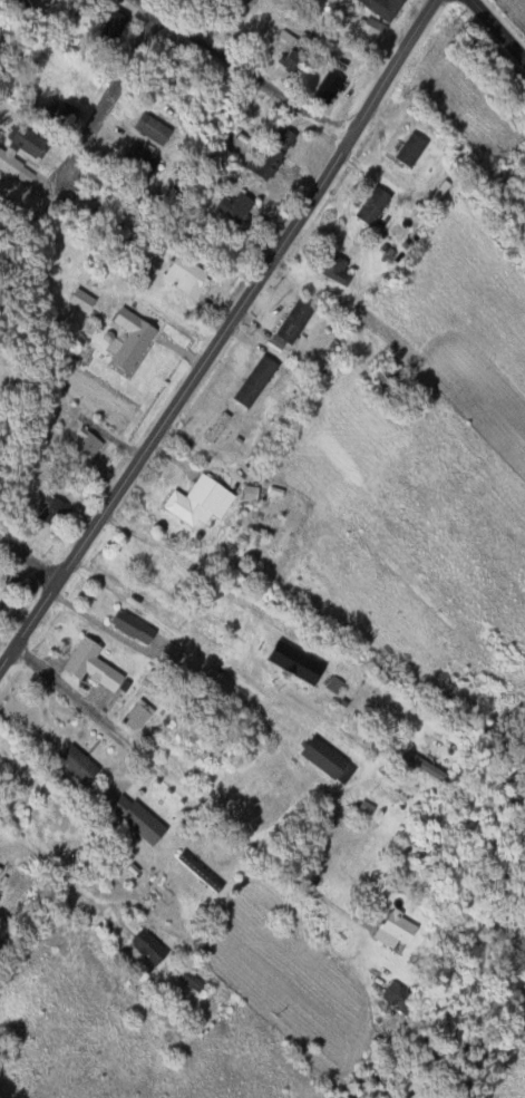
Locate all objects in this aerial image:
building: (318, 4)
building: (376, 8)
building: (236, 13)
building: (107, 23)
road: (497, 28)
building: (285, 60)
road: (244, 68)
road: (116, 86)
building: (323, 88)
building: (59, 113)
building: (146, 129)
building: (25, 144)
building: (407, 150)
building: (264, 156)
building: (128, 158)
building: (7, 164)
building: (368, 206)
building: (227, 208)
building: (101, 221)
building: (329, 269)
building: (178, 276)
building: (74, 301)
building: (288, 324)
road: (223, 333)
building: (124, 341)
building: (251, 381)
building: (214, 428)
building: (80, 445)
building: (25, 487)
building: (195, 502)
building: (50, 506)
road: (28, 563)
building: (140, 563)
building: (128, 628)
building: (290, 663)
building: (87, 667)
road: (332, 694)
building: (134, 715)
road: (134, 744)
building: (323, 761)
building: (72, 765)
building: (128, 816)
building: (0, 871)
building: (196, 872)
building: (388, 931)
road: (56, 934)
building: (144, 948)
building: (182, 981)
building: (392, 998)

